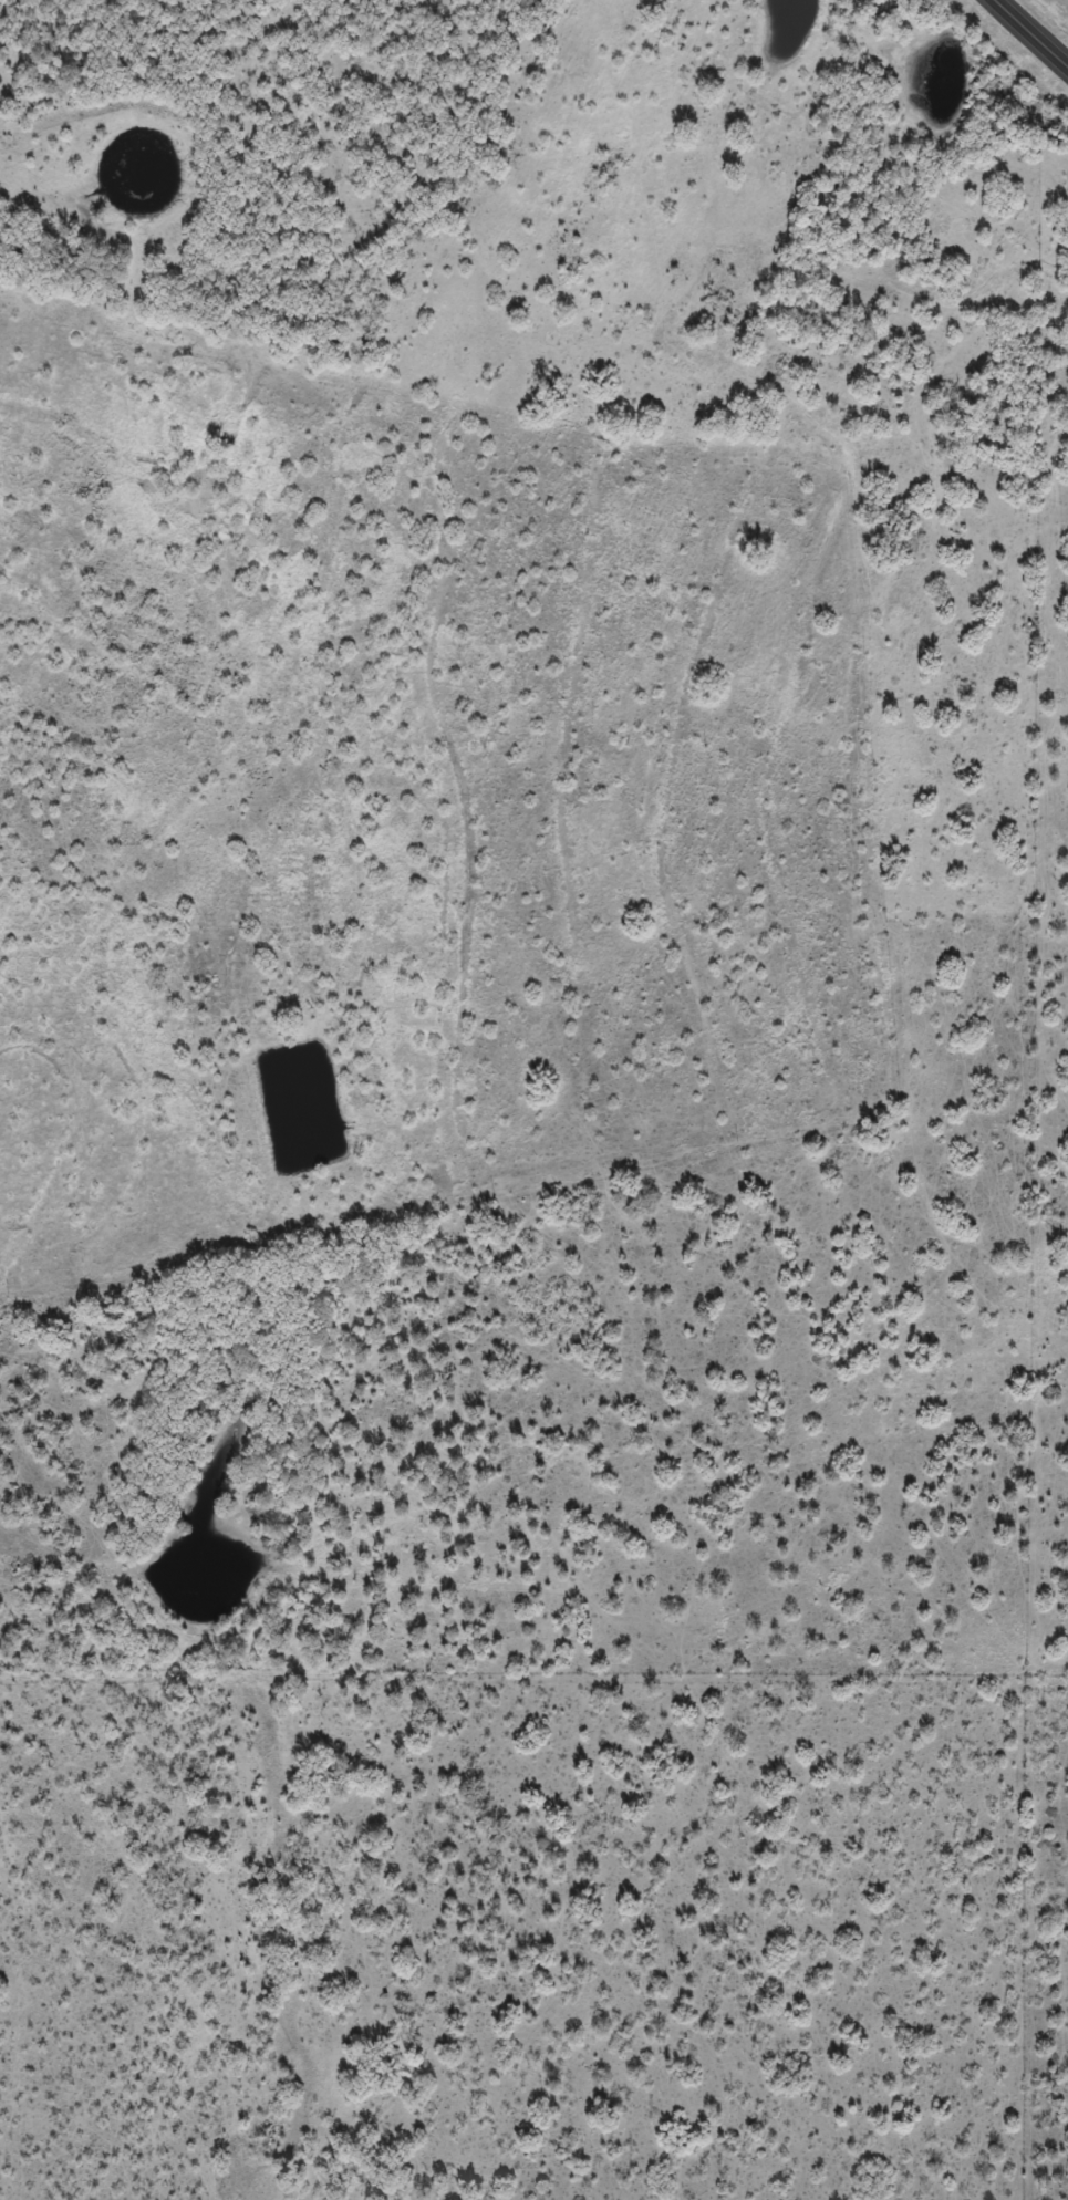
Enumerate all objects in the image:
road: (1027, 38)

